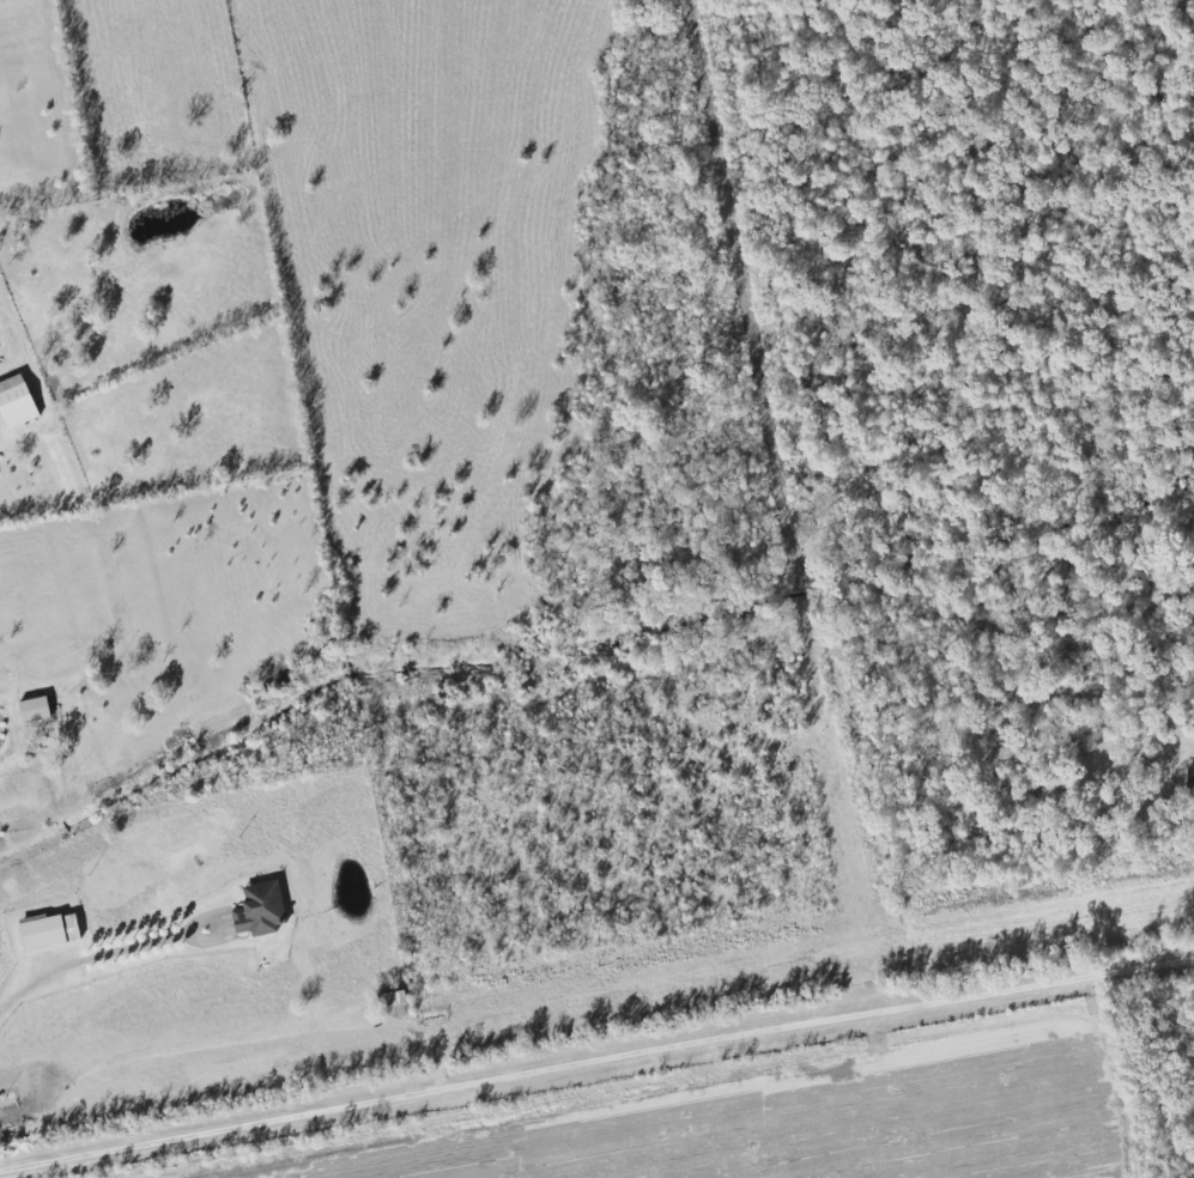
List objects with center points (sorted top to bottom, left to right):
building: (16, 402)
building: (32, 710)
building: (1189, 777)
building: (259, 910)
building: (49, 931)
road: (91, 967)
building: (394, 1003)
road: (596, 1062)

